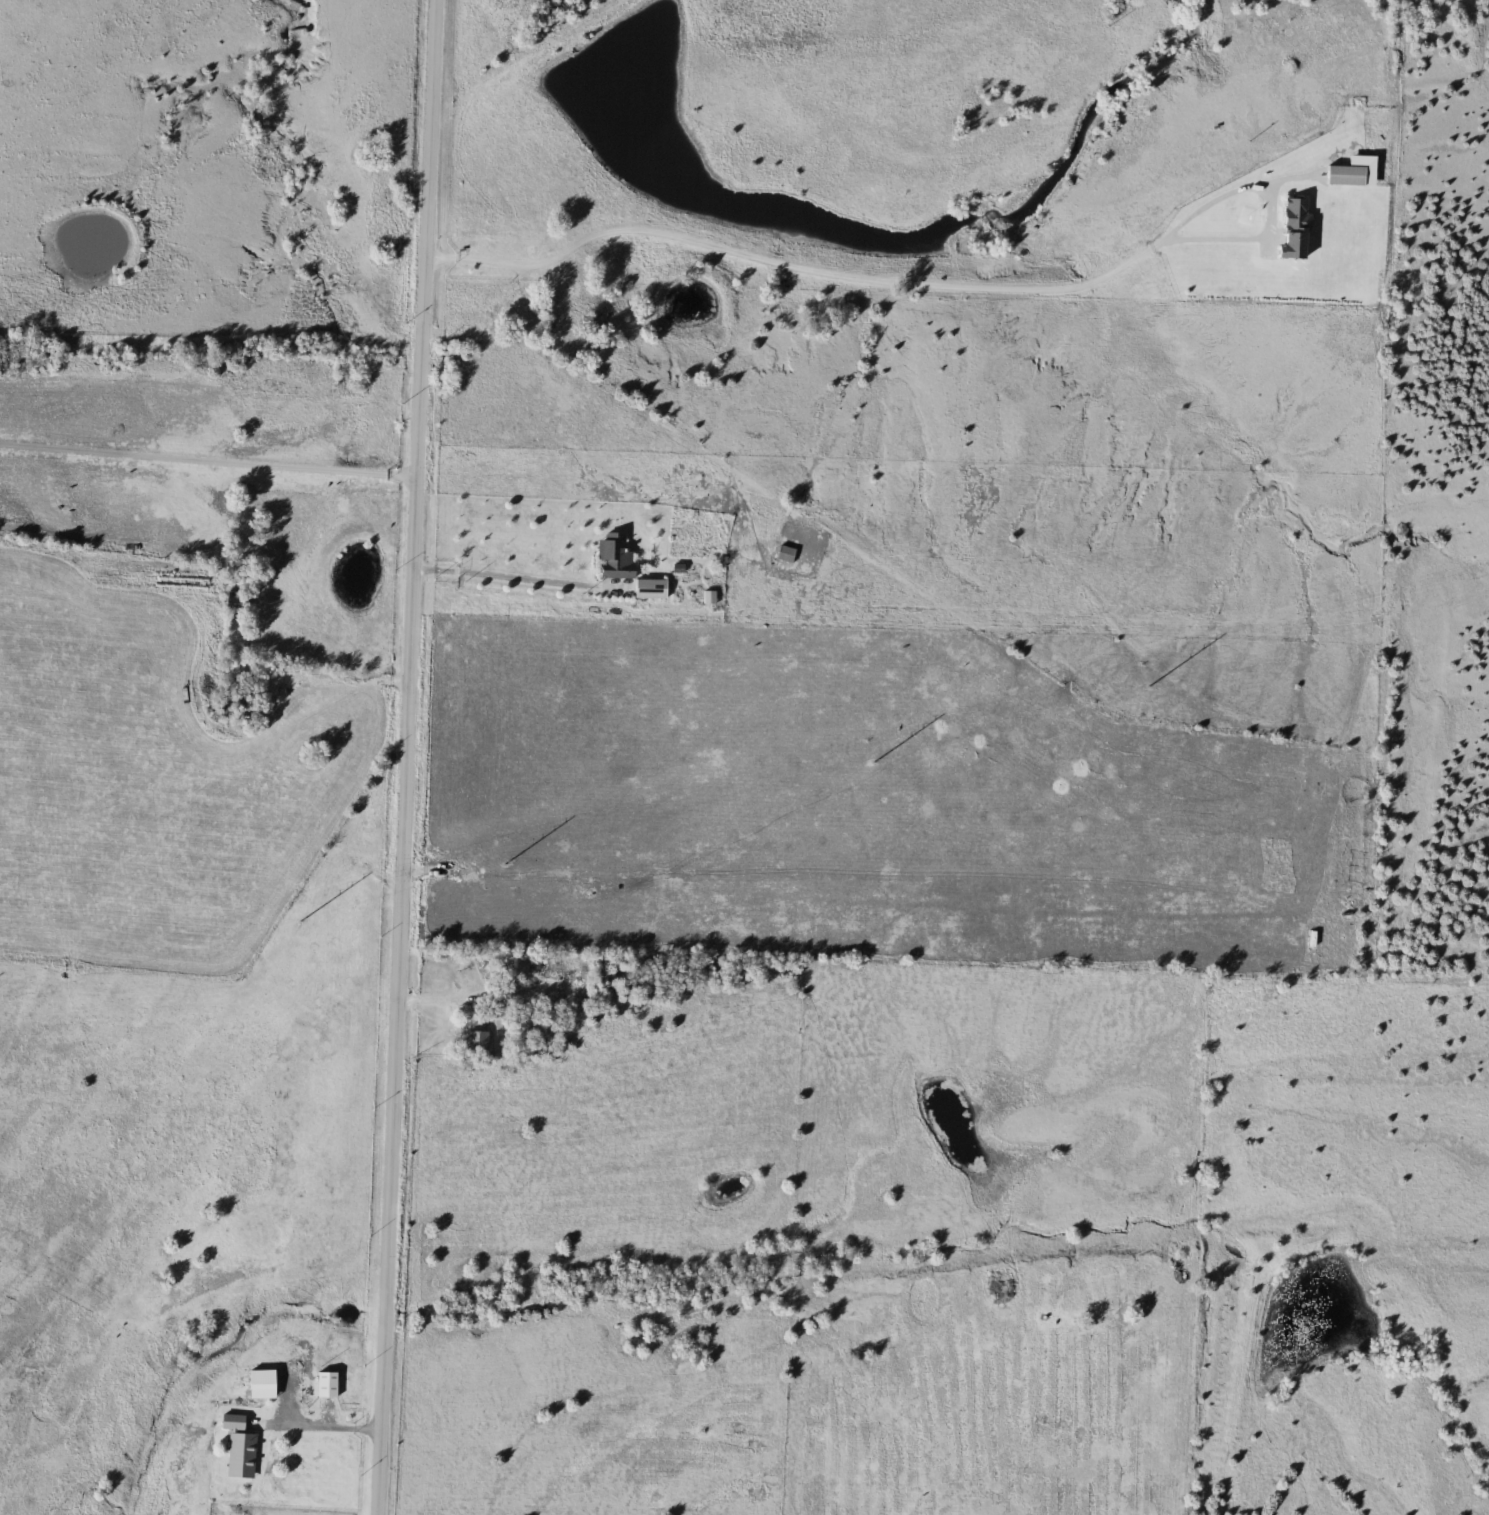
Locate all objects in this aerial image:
building: (1289, 250)
road: (864, 277)
road: (206, 452)
building: (783, 554)
building: (612, 556)
road: (499, 566)
power tower: (1131, 673)
power tower: (857, 748)
road: (403, 757)
power tower: (484, 850)
power tower: (277, 907)
road: (452, 997)
building: (476, 1042)
building: (258, 1383)
building: (231, 1423)
road: (315, 1425)
building: (239, 1455)

